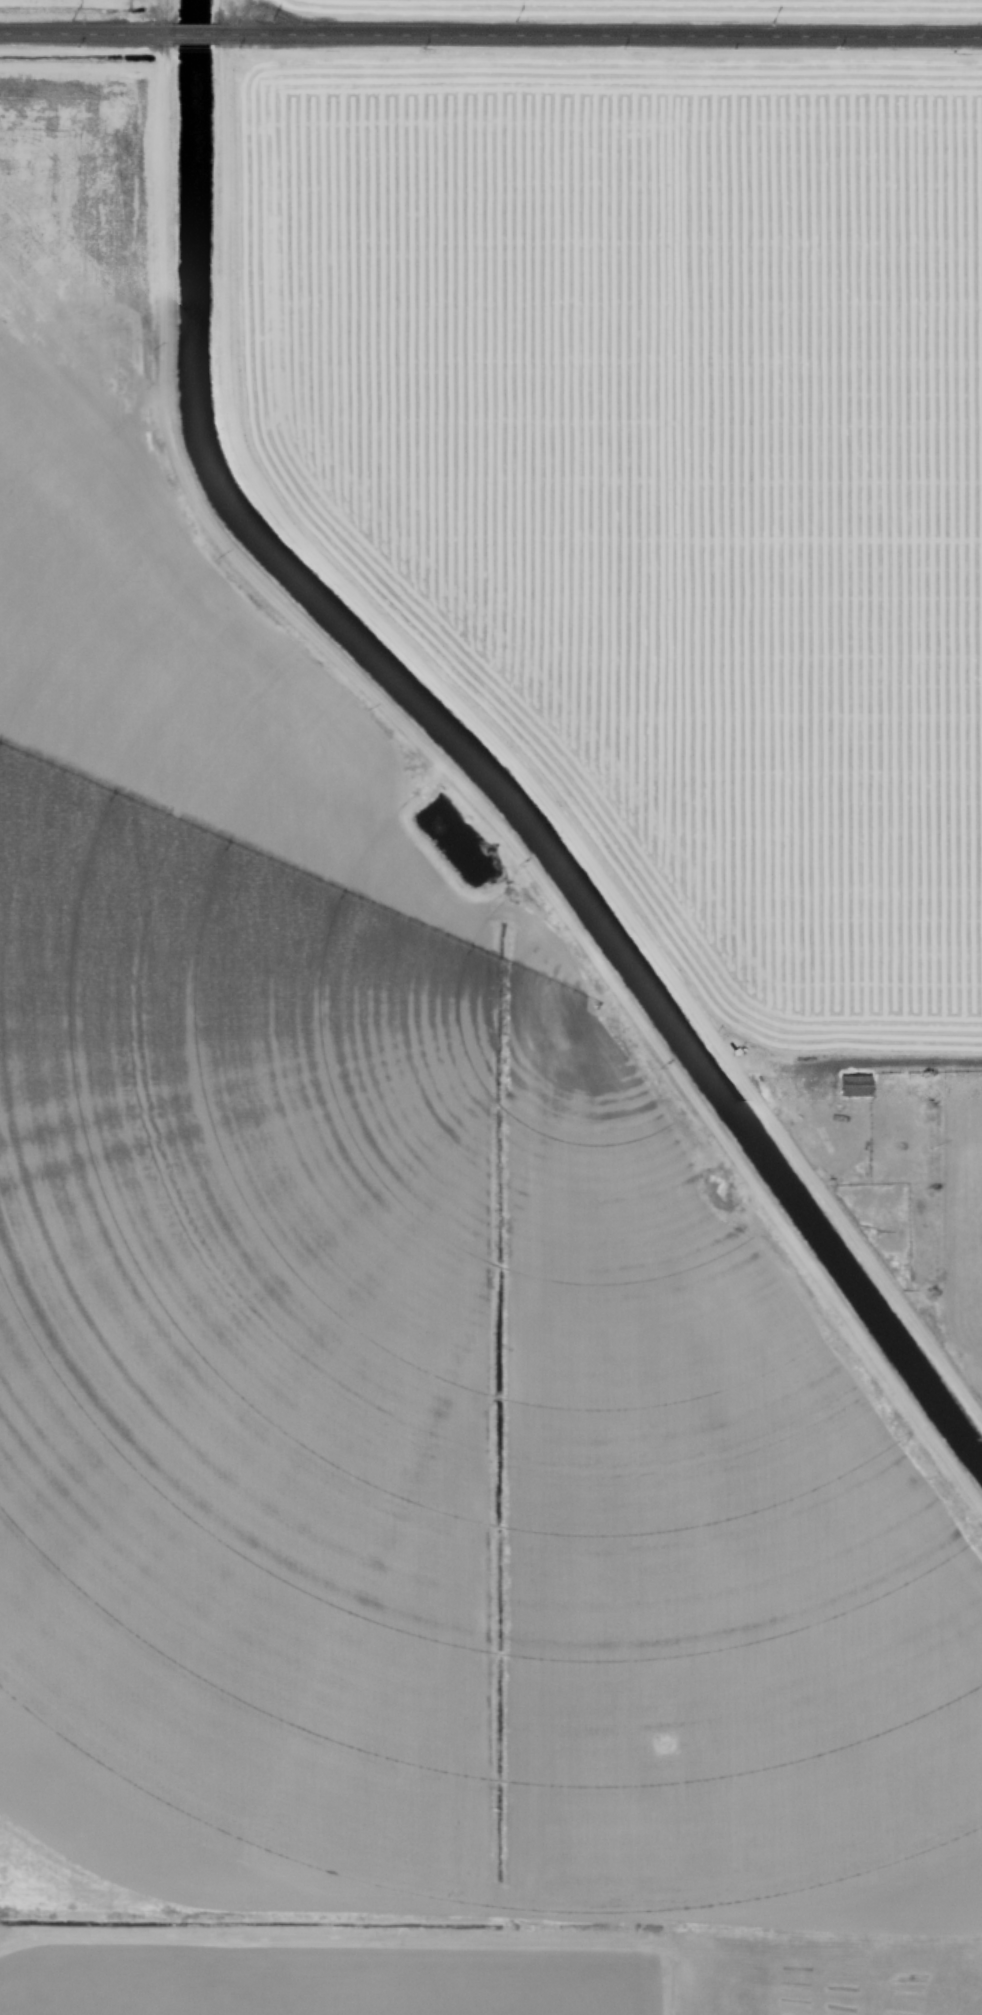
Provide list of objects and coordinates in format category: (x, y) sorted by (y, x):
road: (84, 32)
road: (194, 32)
road: (600, 35)
building: (850, 1084)

